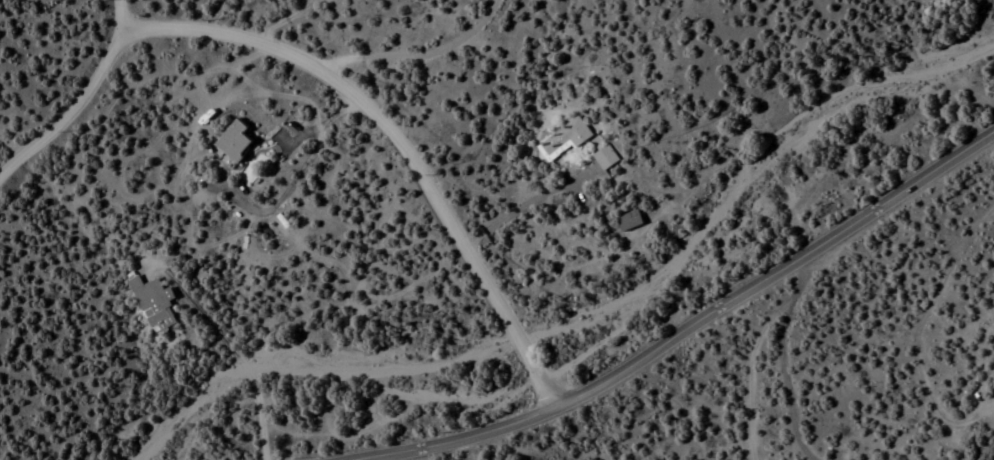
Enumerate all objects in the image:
road: (353, 97)
road: (82, 98)
building: (563, 140)
building: (234, 141)
building: (604, 158)
building: (628, 221)
building: (152, 304)
road: (691, 326)
road: (239, 343)
road: (529, 354)
road: (812, 382)
road: (637, 414)

